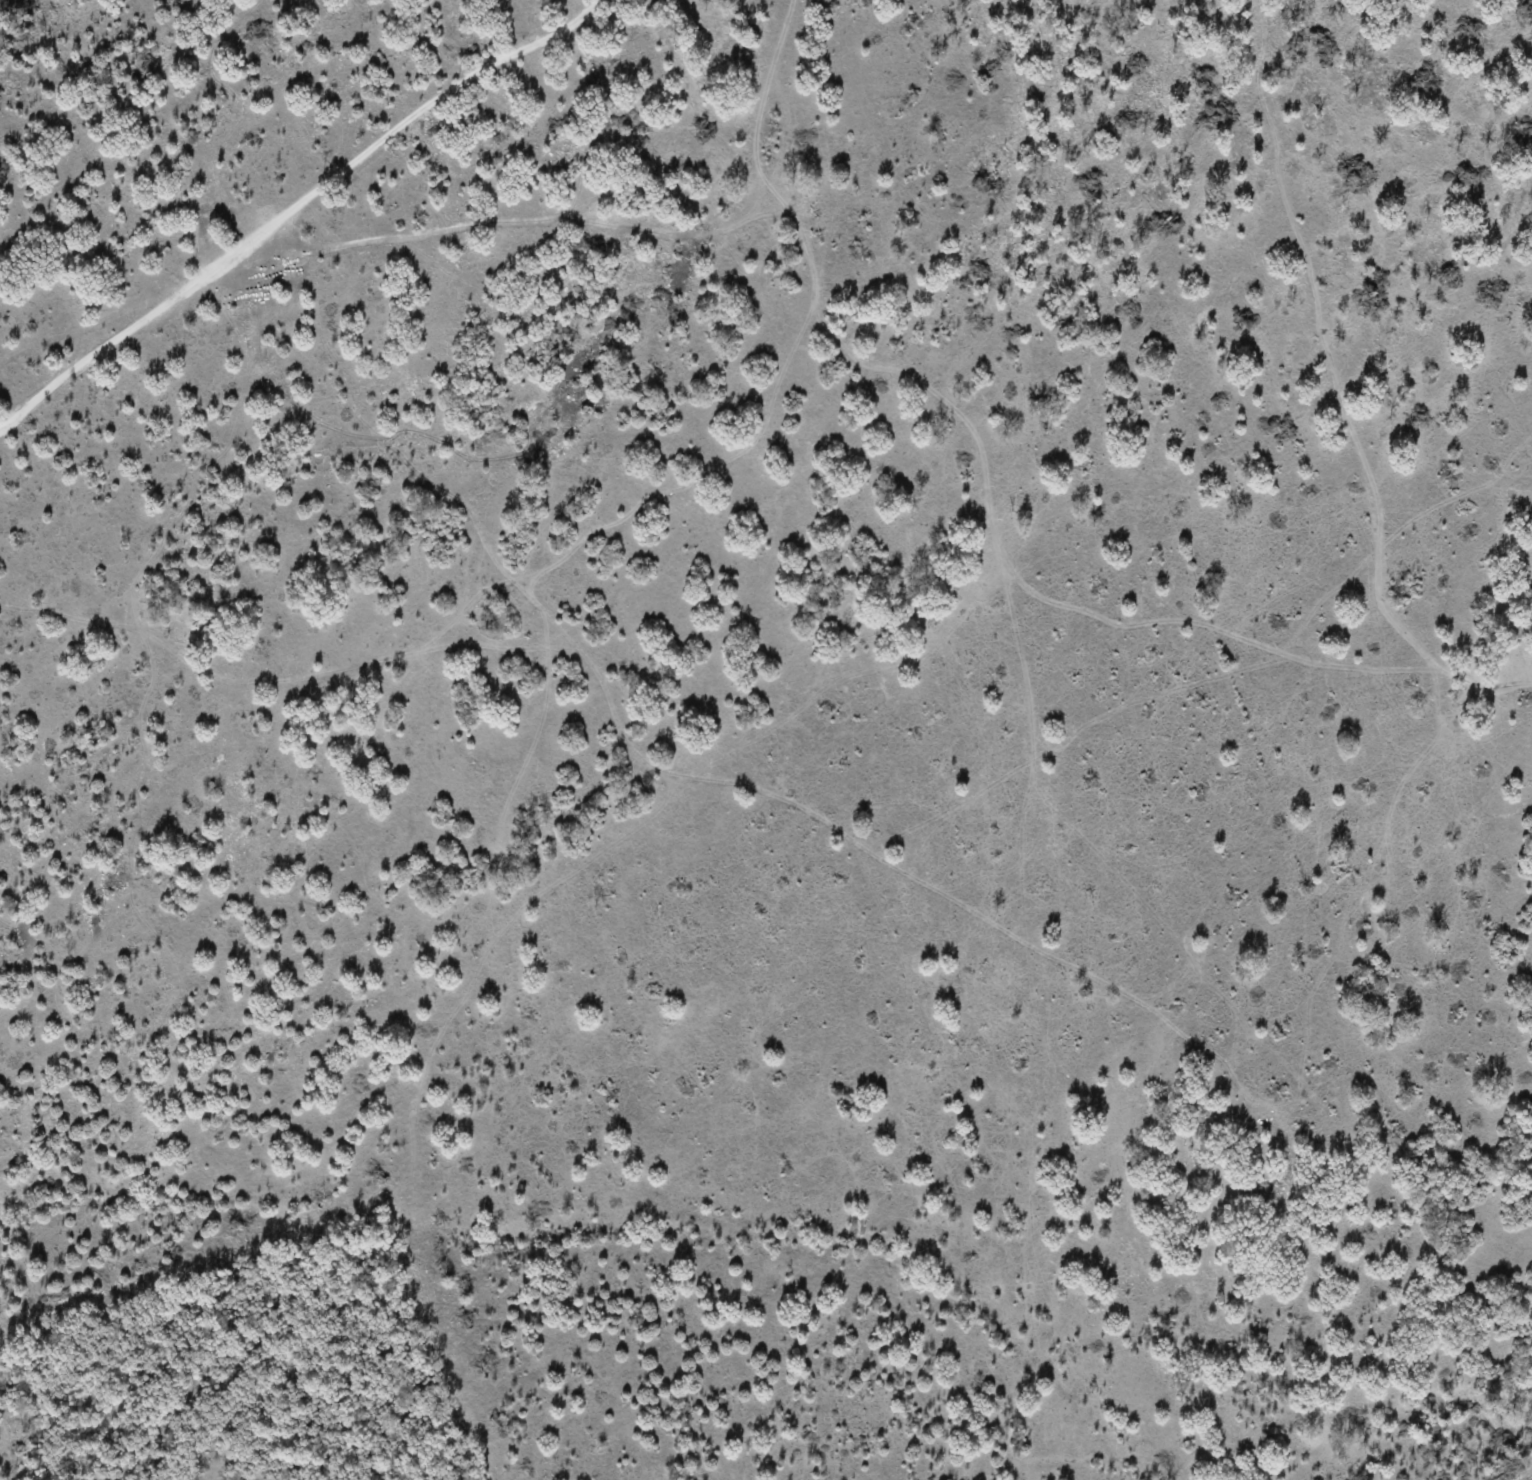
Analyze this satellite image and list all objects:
road: (295, 206)

